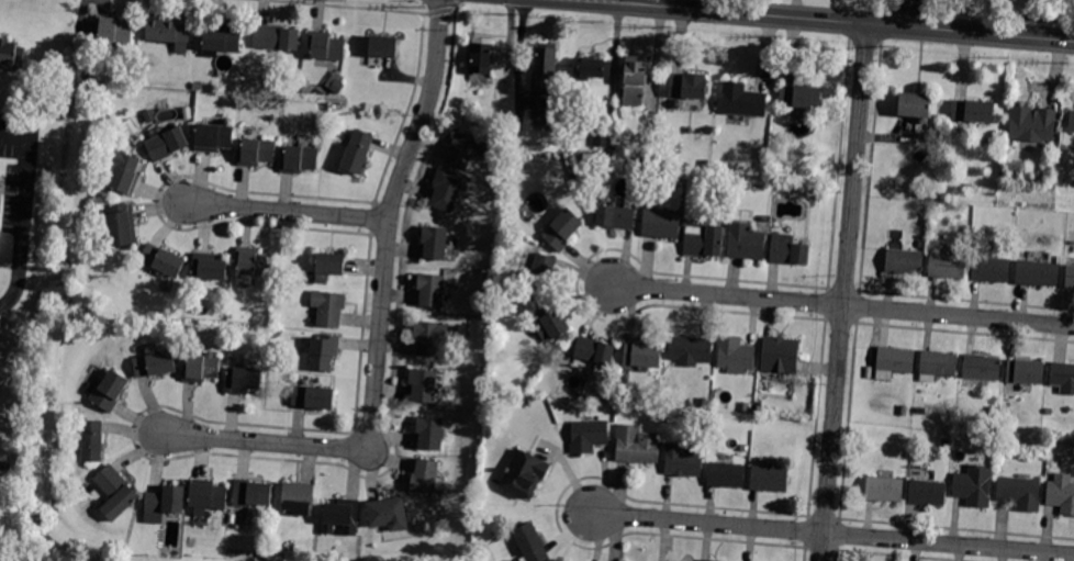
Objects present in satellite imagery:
road: (452, 1)
road: (452, 5)
road: (450, 8)
road: (436, 9)
road: (918, 13)
road: (826, 20)
building: (113, 29)
building: (169, 33)
building: (222, 37)
building: (277, 37)
building: (326, 46)
building: (384, 46)
building: (11, 52)
road: (519, 54)
building: (481, 56)
building: (544, 65)
building: (594, 68)
building: (636, 80)
building: (198, 86)
building: (687, 86)
building: (337, 87)
building: (801, 97)
building: (742, 101)
building: (915, 104)
building: (972, 111)
building: (188, 116)
building: (544, 117)
building: (1072, 122)
building: (1031, 124)
building: (133, 132)
building: (213, 137)
building: (601, 137)
building: (167, 144)
building: (461, 150)
building: (257, 152)
building: (358, 152)
building: (763, 154)
building: (299, 159)
building: (638, 165)
building: (123, 170)
building: (704, 188)
building: (447, 189)
road: (19, 210)
road: (287, 212)
building: (616, 217)
building: (661, 224)
building: (122, 225)
building: (563, 231)
building: (704, 242)
building: (746, 242)
building: (435, 243)
building: (787, 249)
building: (163, 260)
building: (254, 261)
building: (904, 261)
building: (332, 263)
building: (948, 265)
building: (209, 267)
building: (991, 269)
building: (542, 273)
building: (1037, 273)
building: (1069, 277)
building: (281, 280)
building: (430, 290)
road: (843, 292)
building: (225, 293)
road: (840, 305)
building: (329, 307)
building: (551, 323)
road: (380, 327)
building: (429, 336)
building: (690, 350)
building: (324, 352)
building: (594, 352)
building: (642, 355)
building: (736, 355)
building: (780, 355)
building: (893, 361)
building: (155, 362)
building: (938, 364)
building: (201, 366)
building: (982, 367)
building: (1026, 371)
building: (1063, 378)
building: (243, 380)
building: (423, 384)
building: (109, 391)
building: (312, 397)
building: (705, 402)
building: (622, 406)
building: (745, 407)
building: (1006, 407)
building: (904, 411)
building: (994, 412)
building: (678, 415)
building: (430, 433)
building: (589, 436)
building: (92, 441)
building: (947, 442)
building: (638, 445)
building: (683, 460)
building: (5, 465)
building: (525, 475)
building: (726, 475)
building: (425, 476)
building: (770, 479)
building: (974, 486)
building: (884, 490)
building: (116, 492)
building: (253, 493)
building: (927, 493)
building: (1020, 493)
building: (1062, 493)
building: (208, 496)
building: (299, 497)
building: (164, 501)
building: (340, 514)
building: (389, 514)
building: (89, 517)
building: (350, 531)
road: (834, 532)
building: (51, 539)
building: (530, 543)
building: (264, 552)
building: (515, 560)
building: (708, 560)

